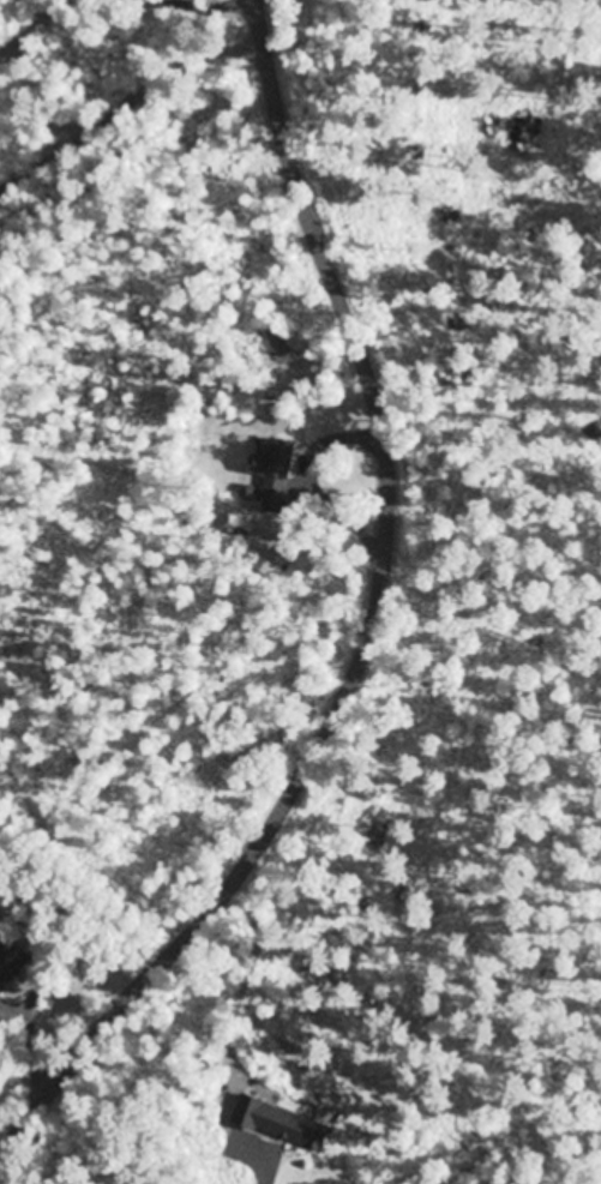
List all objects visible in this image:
road: (128, 101)
building: (274, 467)
road: (373, 633)
building: (11, 963)
building: (247, 1113)
road: (257, 1150)

